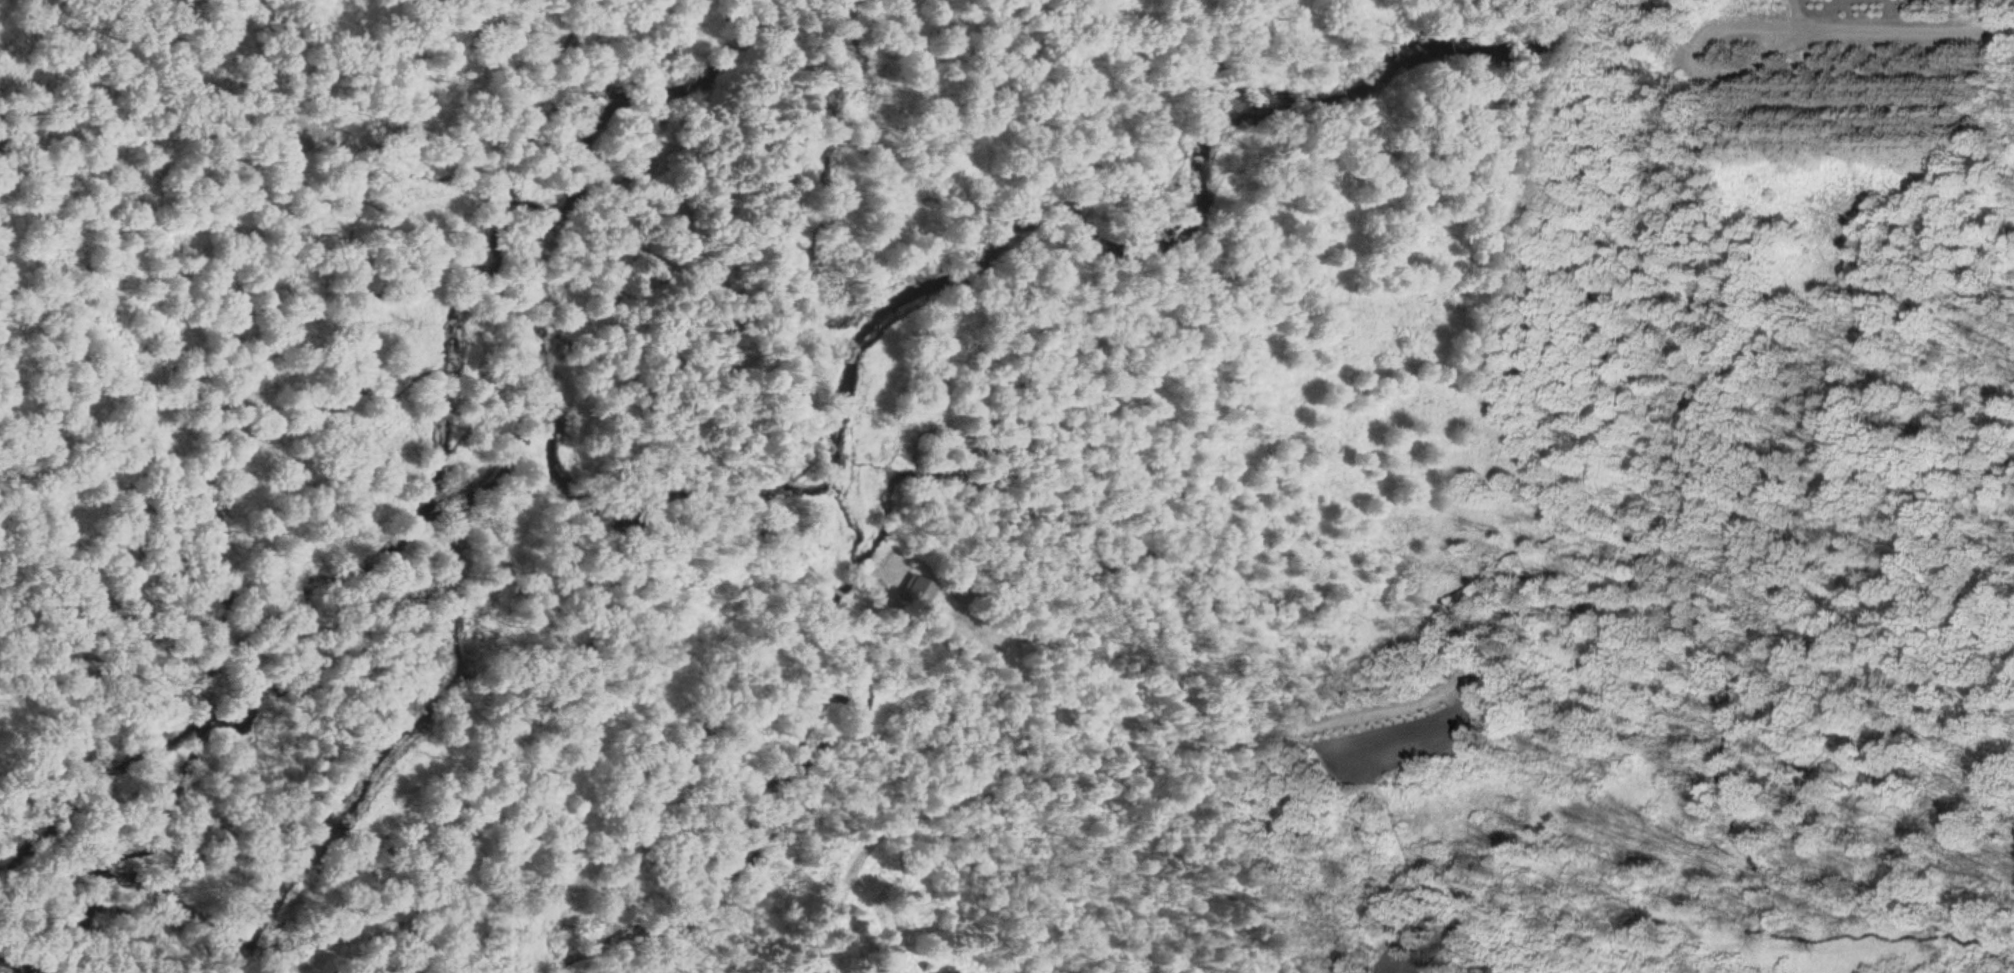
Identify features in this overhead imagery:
road: (1907, 27)
road: (1703, 60)
building: (916, 589)

